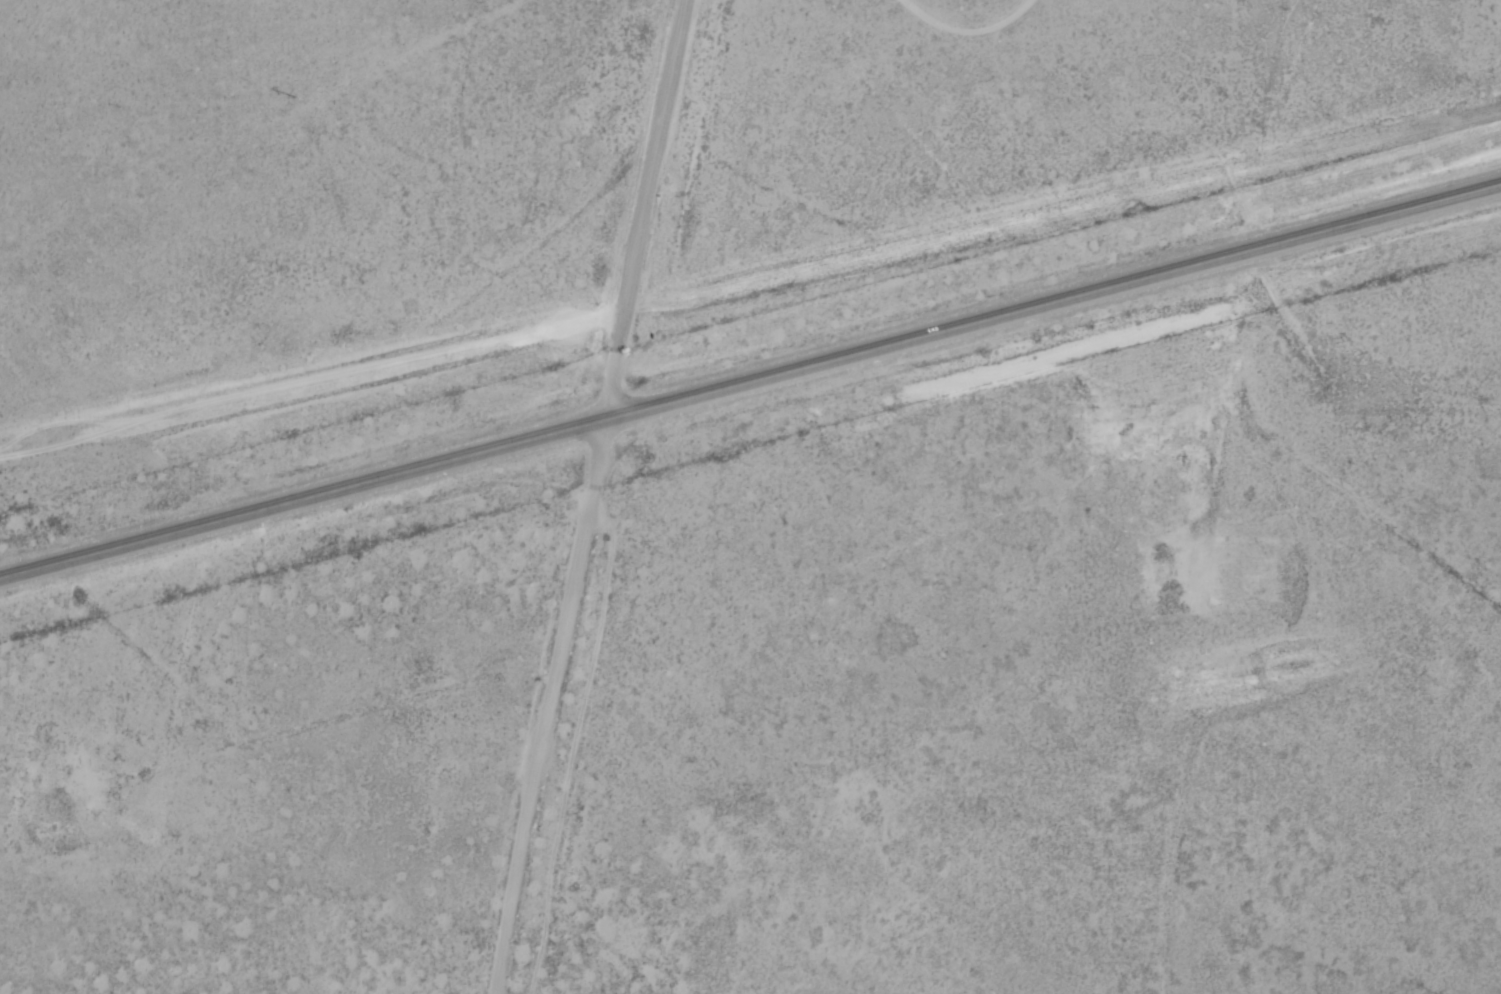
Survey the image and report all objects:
road: (641, 216)
road: (749, 286)
road: (751, 392)
wastewater plant: (1178, 587)
wastewater plant: (1226, 591)
road: (535, 714)

